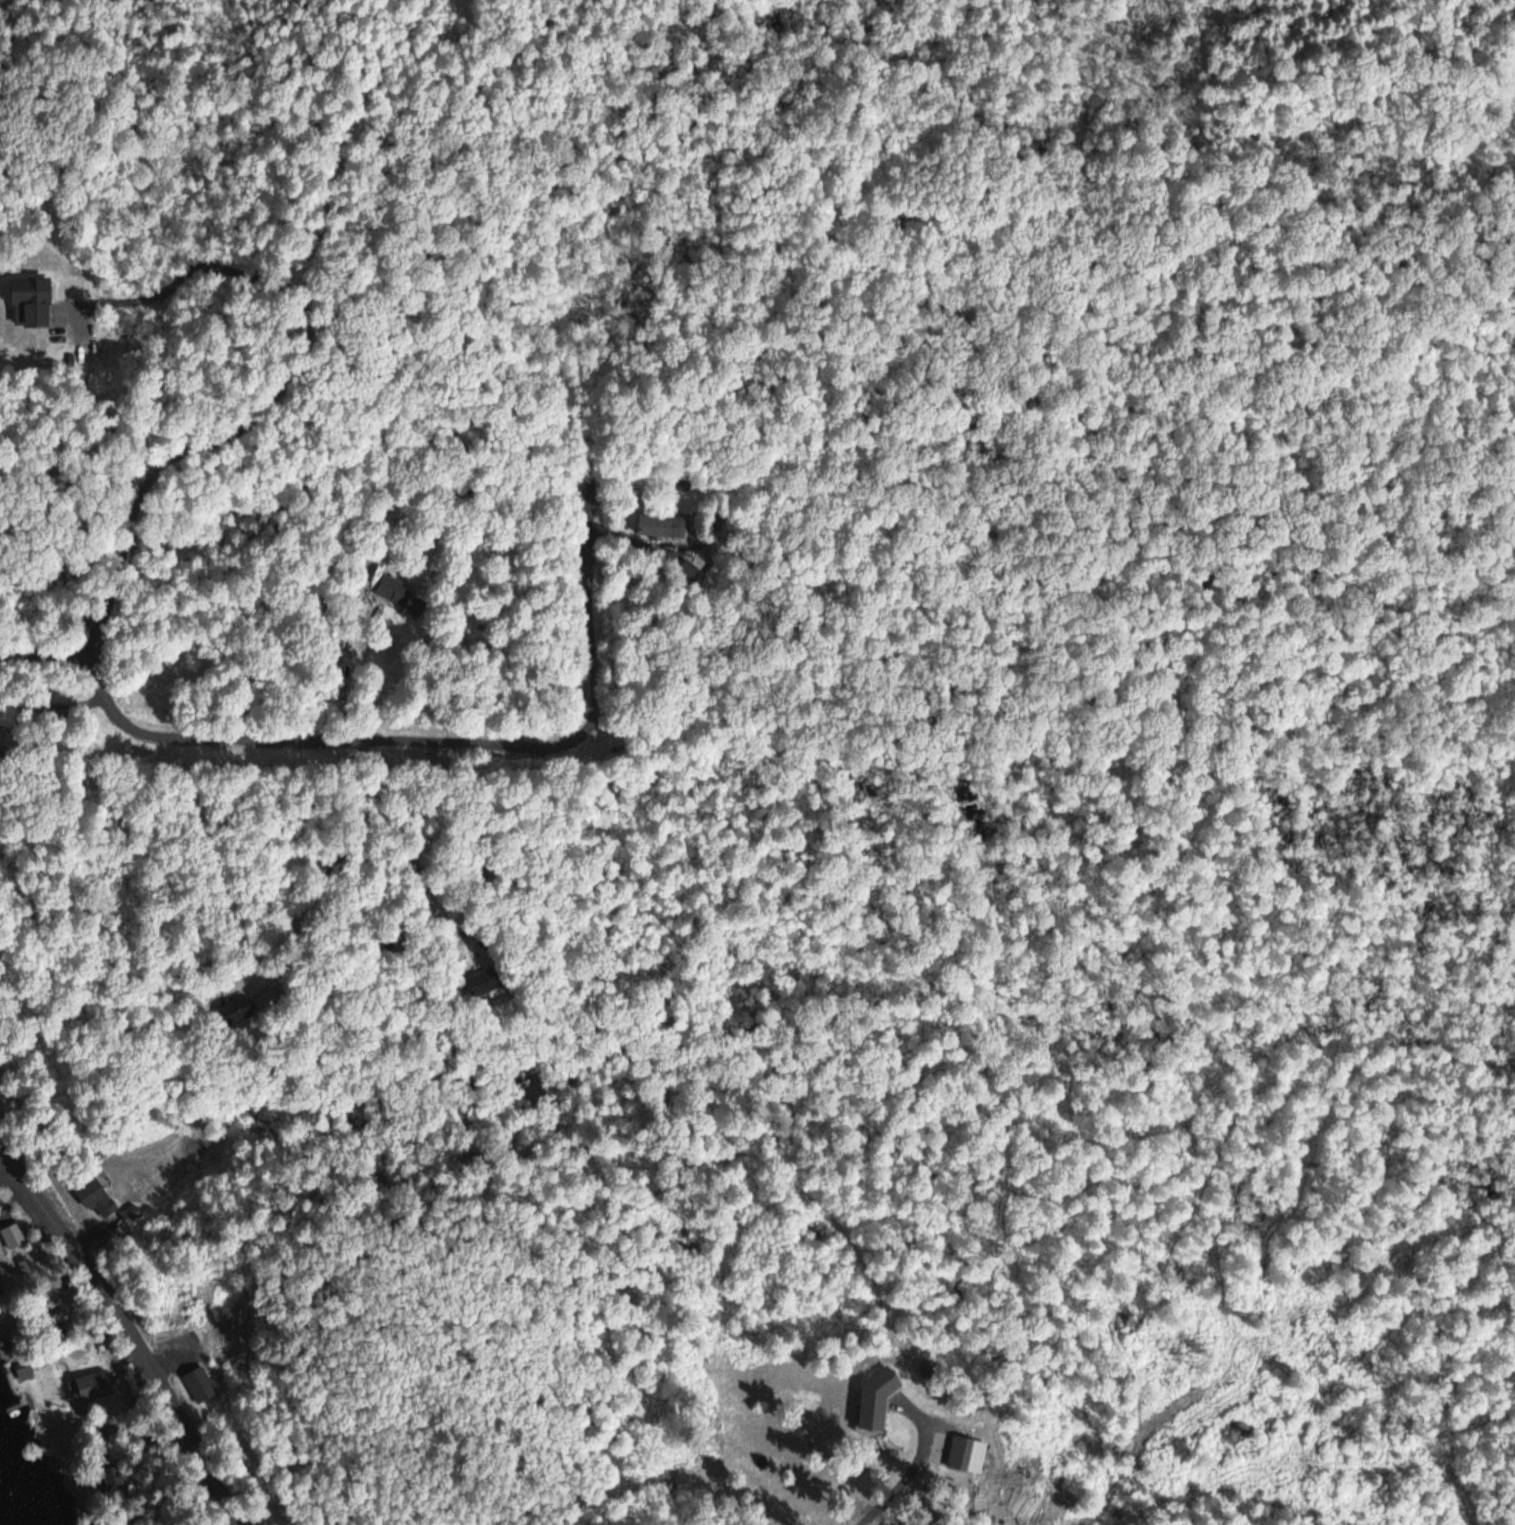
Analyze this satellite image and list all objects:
building: (31, 302)
building: (660, 524)
building: (691, 563)
road: (120, 565)
building: (397, 591)
building: (5, 713)
road: (435, 741)
building: (478, 982)
building: (97, 1194)
building: (134, 1213)
road: (125, 1329)
building: (199, 1378)
building: (85, 1384)
building: (875, 1398)
building: (957, 1451)
building: (109, 1477)
road: (902, 1479)

